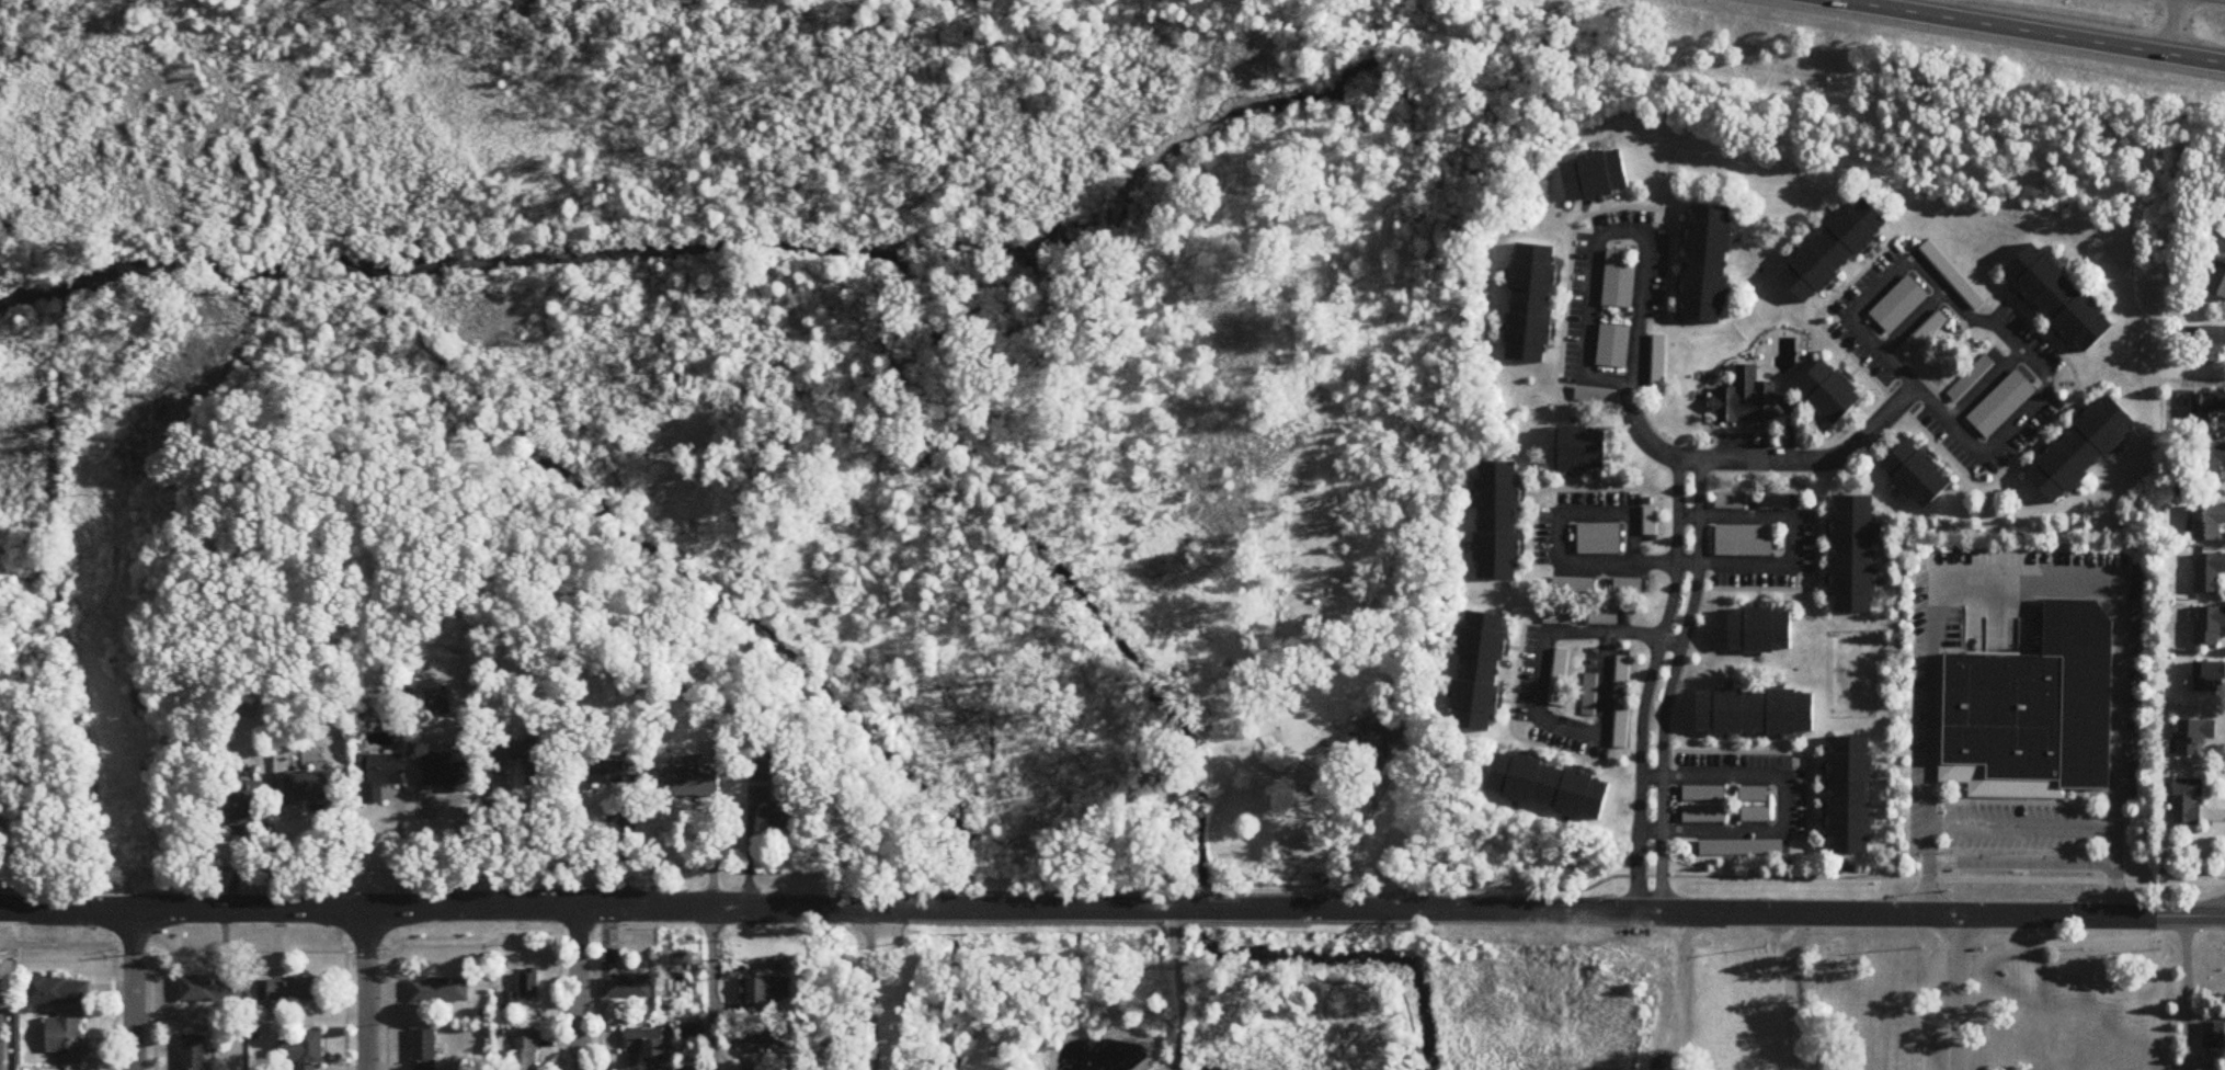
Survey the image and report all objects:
road: (2173, 29)
road: (2024, 33)
building: (1597, 175)
road: (1607, 208)
road: (1654, 225)
road: (1586, 230)
road: (1599, 236)
building: (1835, 250)
building: (1709, 263)
building: (2220, 281)
building: (1619, 282)
building: (2062, 298)
building: (1532, 303)
building: (1899, 305)
park: (1757, 316)
road: (1835, 317)
road: (1913, 321)
building: (1924, 334)
building: (2212, 343)
building: (1613, 345)
building: (1658, 363)
building: (1971, 379)
road: (2059, 380)
road: (1893, 382)
road: (1985, 387)
road: (2045, 387)
road: (2059, 387)
building: (1832, 391)
building: (1745, 398)
building: (2001, 405)
road: (1919, 408)
building: (2213, 413)
road: (1739, 430)
road: (1713, 445)
building: (1579, 448)
building: (2084, 449)
road: (1950, 457)
road: (1761, 460)
building: (2211, 464)
road: (1983, 468)
building: (1918, 474)
road: (1552, 489)
building: (1728, 501)
road: (1550, 504)
road: (1800, 508)
building: (1499, 521)
building: (1650, 521)
building: (2209, 522)
building: (1599, 538)
building: (1744, 540)
building: (1855, 554)
road: (1670, 564)
road: (1815, 567)
road: (1800, 573)
building: (2210, 573)
road: (2024, 579)
building: (1573, 585)
building: (1628, 587)
building: (1557, 617)
building: (1602, 617)
building: (2209, 626)
building: (1761, 629)
building: (1621, 670)
building: (1481, 671)
building: (2210, 676)
building: (1559, 679)
road: (1648, 682)
road: (1670, 683)
building: (438, 703)
building: (2033, 706)
building: (1757, 712)
road: (1938, 722)
road: (1510, 726)
road: (1529, 727)
road: (1583, 729)
building: (2195, 736)
building: (1374, 742)
building: (1939, 750)
road: (1767, 751)
building: (523, 761)
road: (1792, 765)
building: (763, 772)
building: (443, 773)
building: (601, 773)
building: (380, 775)
building: (691, 779)
building: (1550, 785)
building: (313, 786)
building: (1702, 794)
building: (1851, 794)
building: (1753, 795)
building: (2189, 800)
road: (2011, 801)
road: (1783, 805)
building: (247, 806)
building: (781, 815)
building: (1702, 815)
building: (1755, 815)
road: (2021, 826)
road: (1361, 830)
road: (528, 841)
road: (399, 849)
building: (1741, 849)
road: (2020, 862)
road: (1819, 876)
road: (1057, 908)
road: (2168, 914)
road: (248, 951)
building: (529, 986)
road: (580, 987)
building: (629, 987)
road: (133, 988)
road: (344, 988)
road: (365, 988)
road: (711, 988)
road: (871, 988)
building: (209, 990)
building: (295, 990)
road: (1182, 990)
road: (1785, 990)
building: (441, 991)
road: (1955, 991)
building: (58, 992)
building: (767, 992)
road: (2184, 992)
road: (152, 1011)
building: (2214, 1035)
building: (766, 1038)
building: (66, 1040)
road: (112, 1041)
building: (649, 1043)
road: (385, 1046)
building: (424, 1050)
building: (524, 1050)
building: (304, 1051)
building: (194, 1052)

